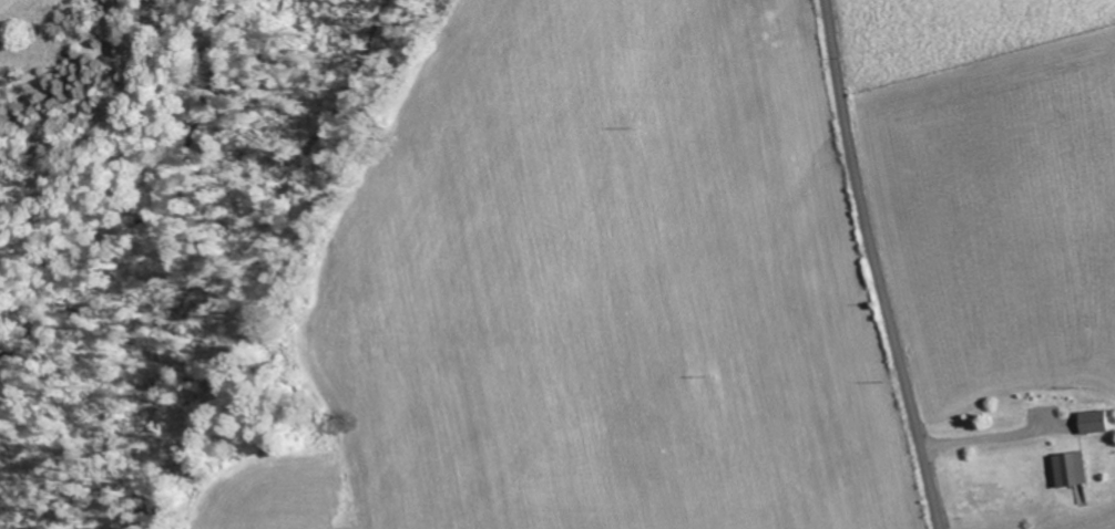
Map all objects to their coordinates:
road: (876, 266)
building: (1094, 421)
building: (1071, 468)

